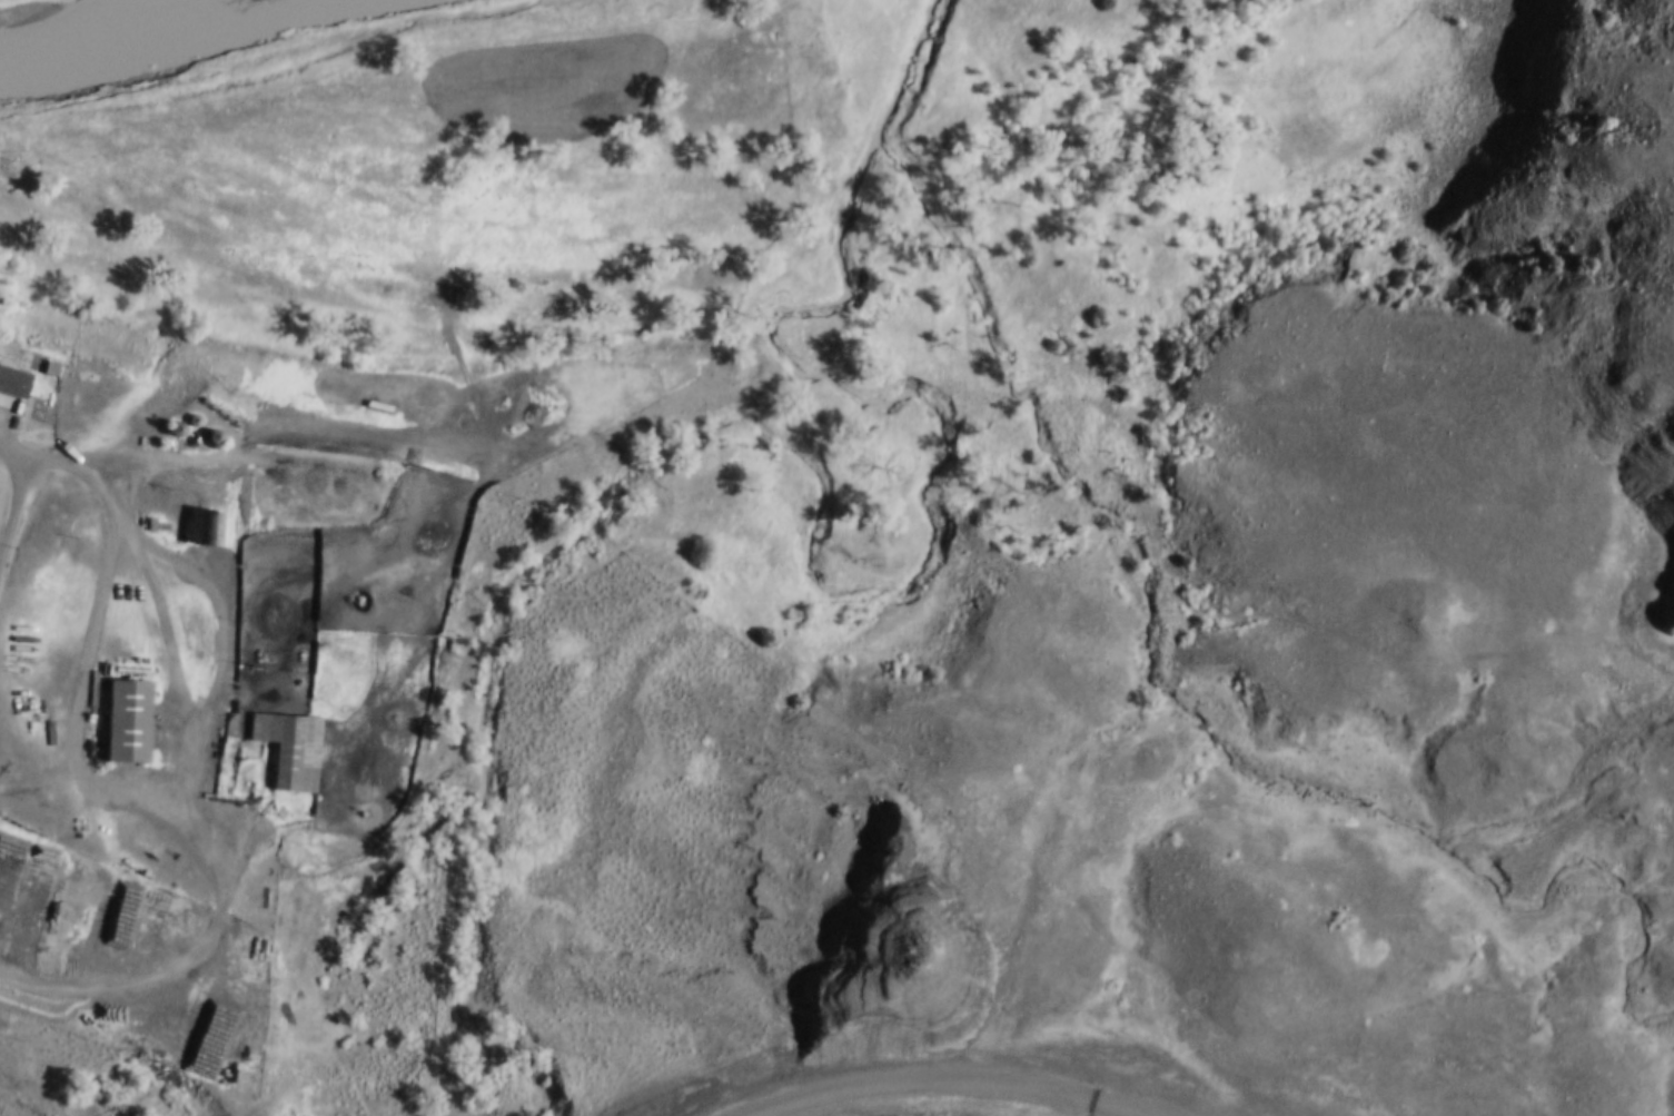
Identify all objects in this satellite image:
river: (145, 30)
building: (2, 373)
road: (18, 494)
building: (209, 530)
building: (130, 722)
building: (291, 750)
road: (198, 768)
road: (903, 1093)

